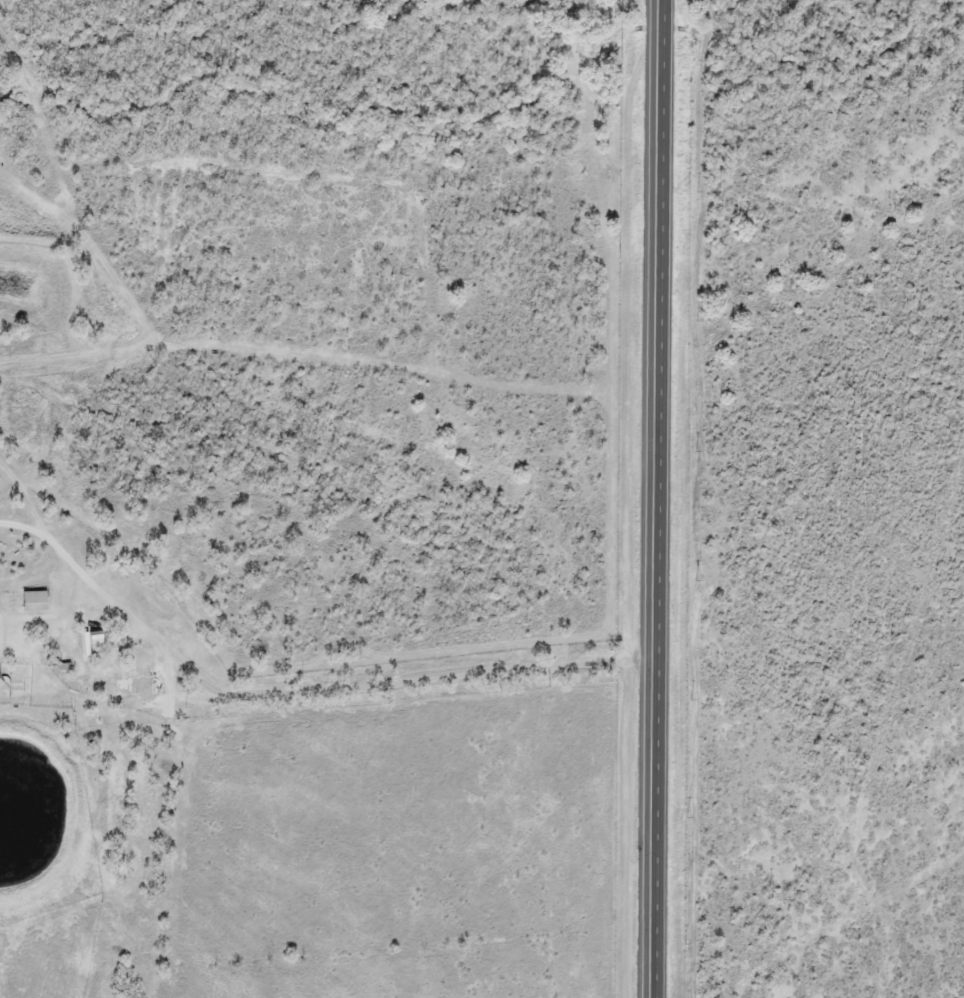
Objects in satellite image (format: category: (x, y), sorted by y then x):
road: (664, 499)
building: (26, 603)
building: (93, 643)
building: (141, 675)
road: (310, 691)

